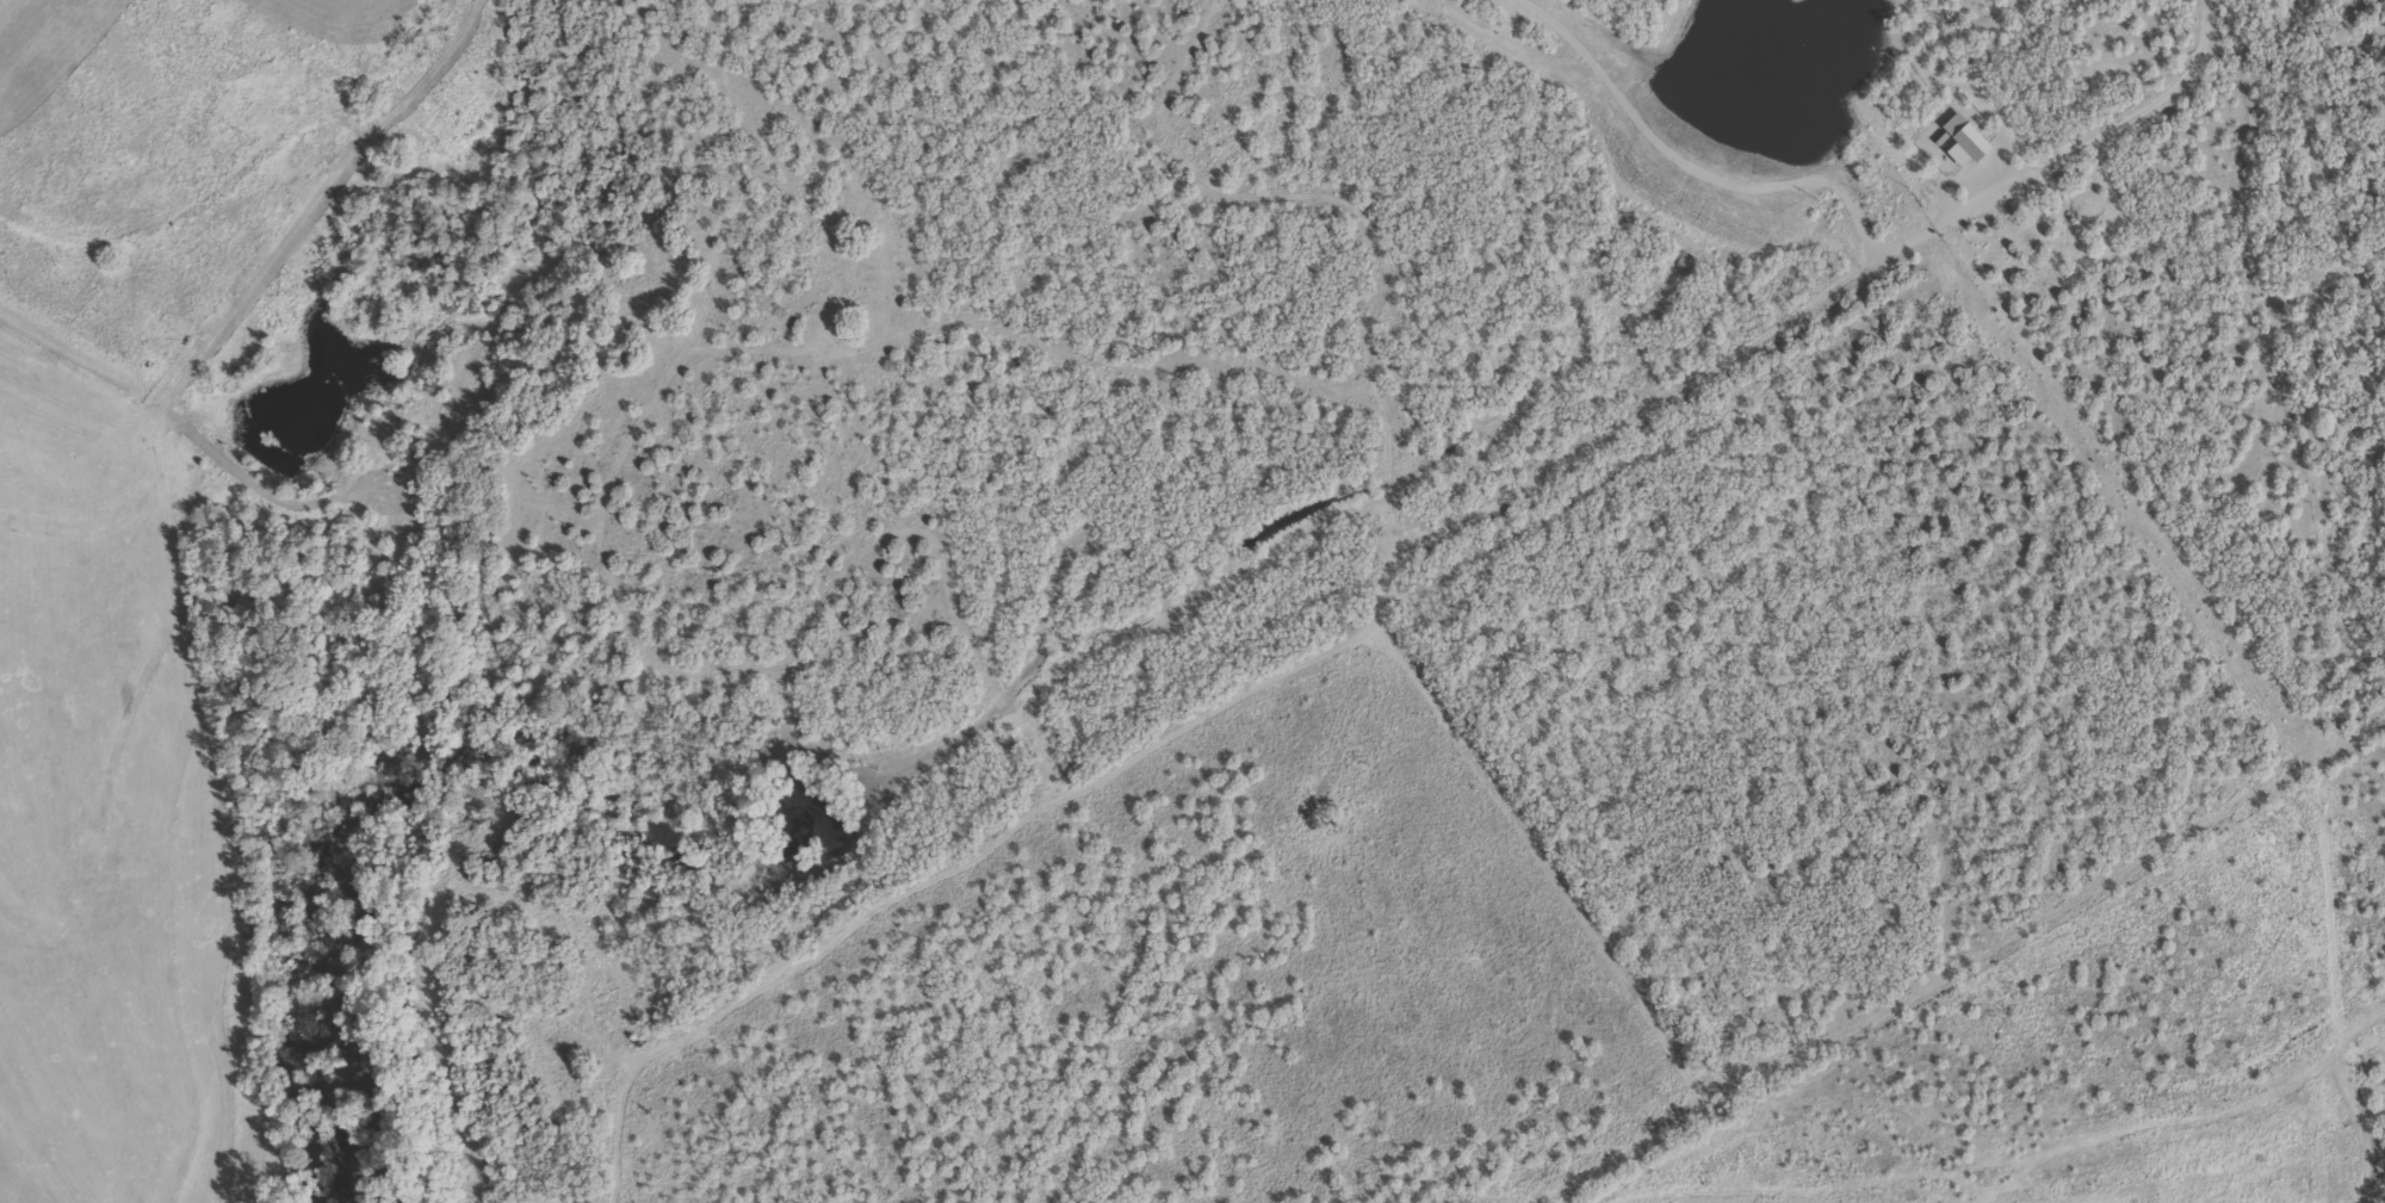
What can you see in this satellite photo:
road: (2027, 1178)

